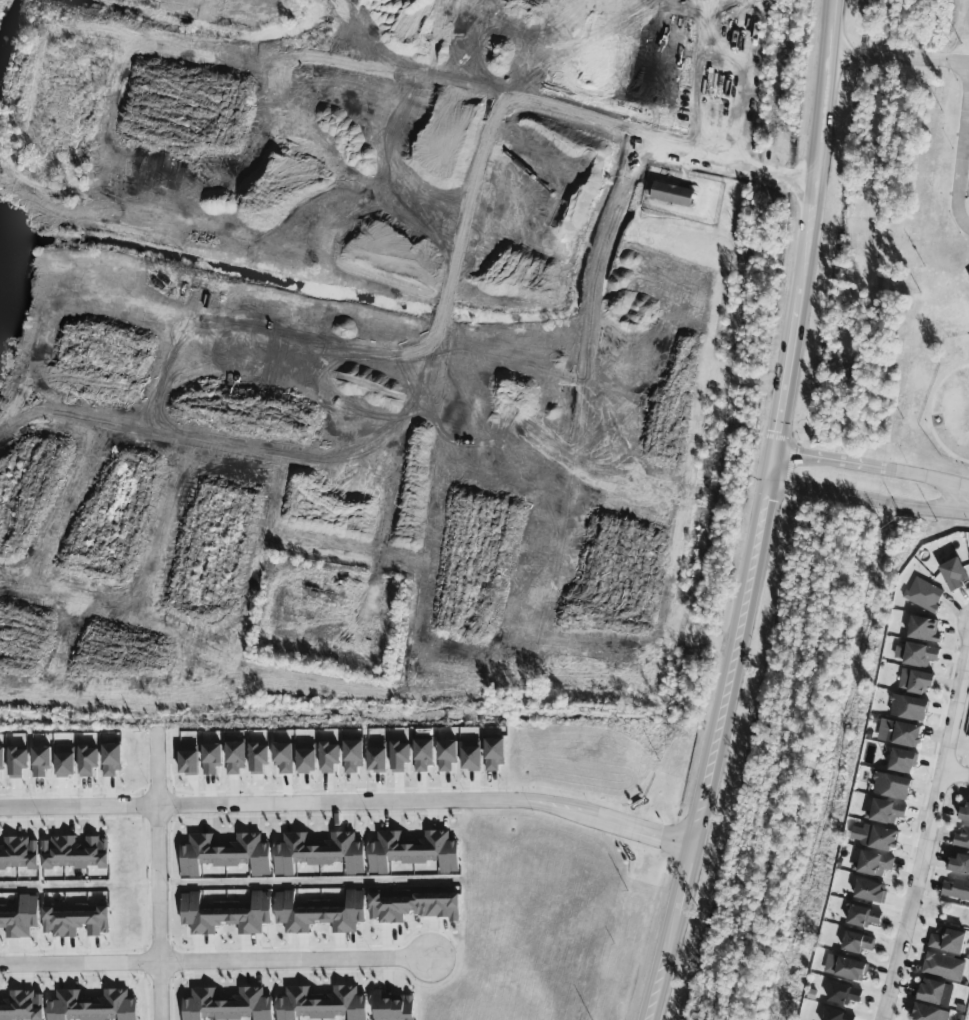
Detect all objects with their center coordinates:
road: (832, 26)
road: (900, 57)
road: (962, 159)
road: (741, 164)
road: (964, 190)
building: (672, 194)
road: (806, 215)
road: (775, 430)
traffic signals: (775, 431)
traffic signals: (798, 455)
road: (829, 459)
road: (927, 478)
traffic signals: (766, 499)
road: (868, 499)
building: (954, 573)
building: (924, 594)
building: (923, 628)
building: (917, 654)
building: (915, 681)
building: (908, 707)
building: (899, 732)
road: (711, 751)
building: (494, 753)
building: (446, 754)
building: (470, 754)
building: (352, 755)
building: (399, 755)
building: (422, 755)
building: (235, 756)
building: (376, 756)
building: (282, 757)
building: (305, 757)
building: (1, 758)
building: (210, 758)
building: (257, 758)
building: (328, 758)
building: (110, 759)
building: (187, 759)
building: (39, 760)
building: (87, 760)
building: (902, 760)
building: (64, 761)
building: (16, 762)
road: (955, 769)
building: (891, 786)
road: (348, 799)
building: (887, 811)
building: (964, 813)
road: (926, 831)
building: (879, 837)
building: (962, 839)
building: (413, 851)
building: (74, 852)
building: (18, 853)
building: (319, 853)
building: (225, 854)
building: (874, 863)
building: (959, 864)
road: (158, 876)
building: (956, 890)
building: (870, 891)
building: (393, 893)
building: (413, 907)
building: (319, 912)
building: (225, 914)
building: (863, 916)
building: (20, 917)
building: (77, 920)
building: (947, 941)
building: (857, 942)
road: (215, 958)
building: (943, 967)
building: (850, 969)
building: (935, 992)
building: (843, 994)
building: (321, 1004)
building: (227, 1005)
building: (22, 1006)
building: (92, 1006)
building: (393, 1006)
building: (929, 1013)
building: (837, 1015)

